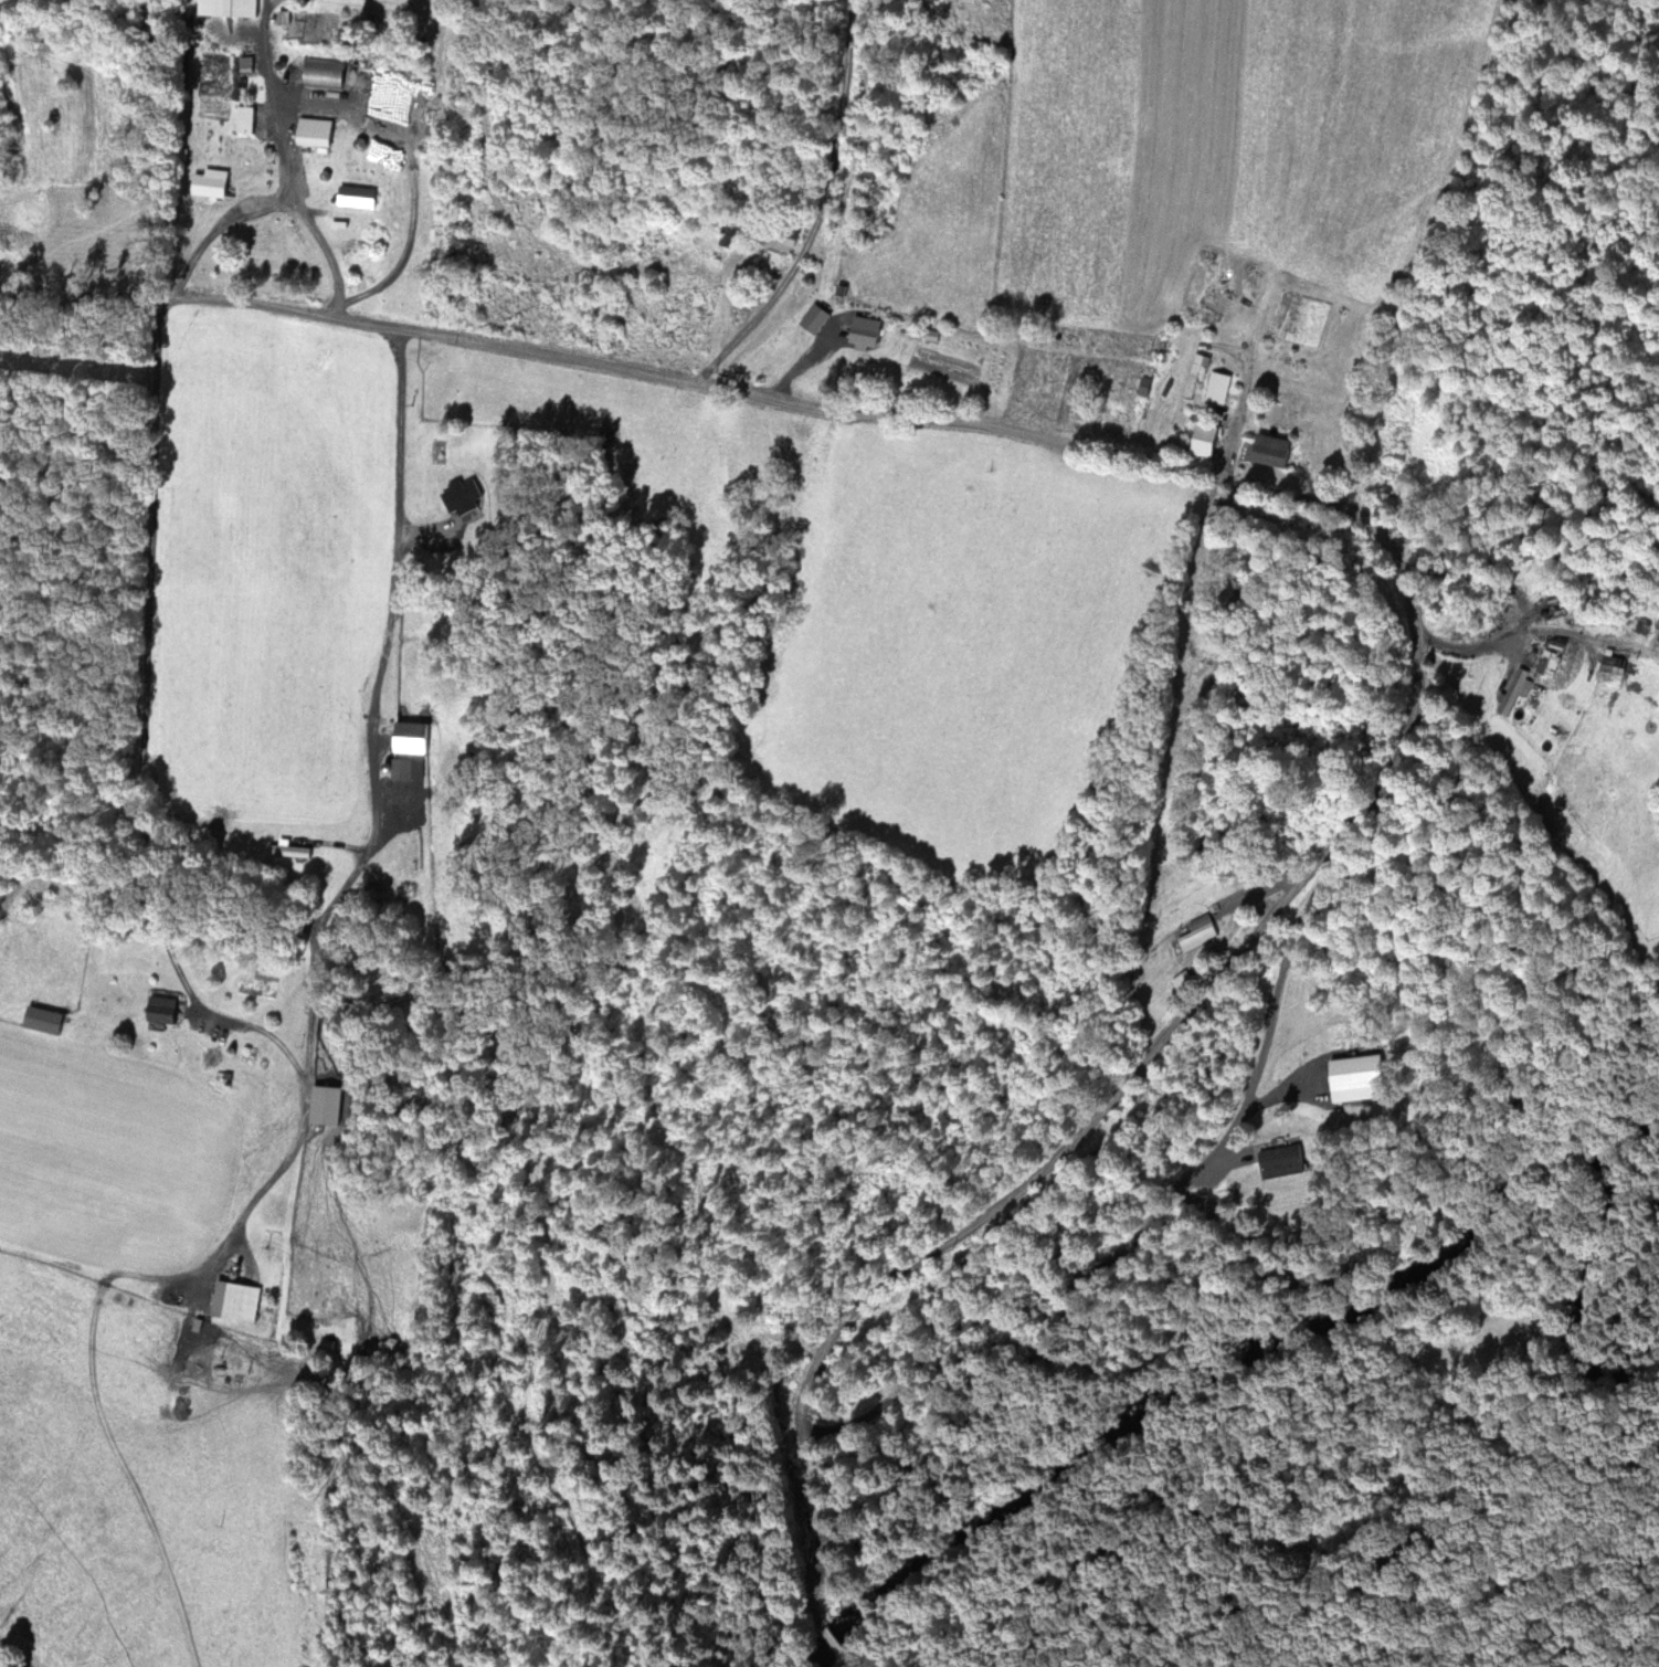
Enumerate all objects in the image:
building: (231, 7)
building: (245, 118)
building: (318, 133)
building: (212, 182)
building: (360, 196)
building: (731, 235)
building: (866, 330)
building: (1194, 374)
building: (1222, 384)
road: (852, 410)
building: (1209, 439)
building: (1275, 450)
building: (1535, 636)
building: (1617, 664)
building: (1521, 689)
building: (418, 737)
building: (288, 847)
building: (1202, 932)
building: (167, 1009)
building: (44, 1020)
building: (325, 1098)
road: (1082, 1130)
building: (1285, 1160)
building: (239, 1301)
river: (1278, 1330)

